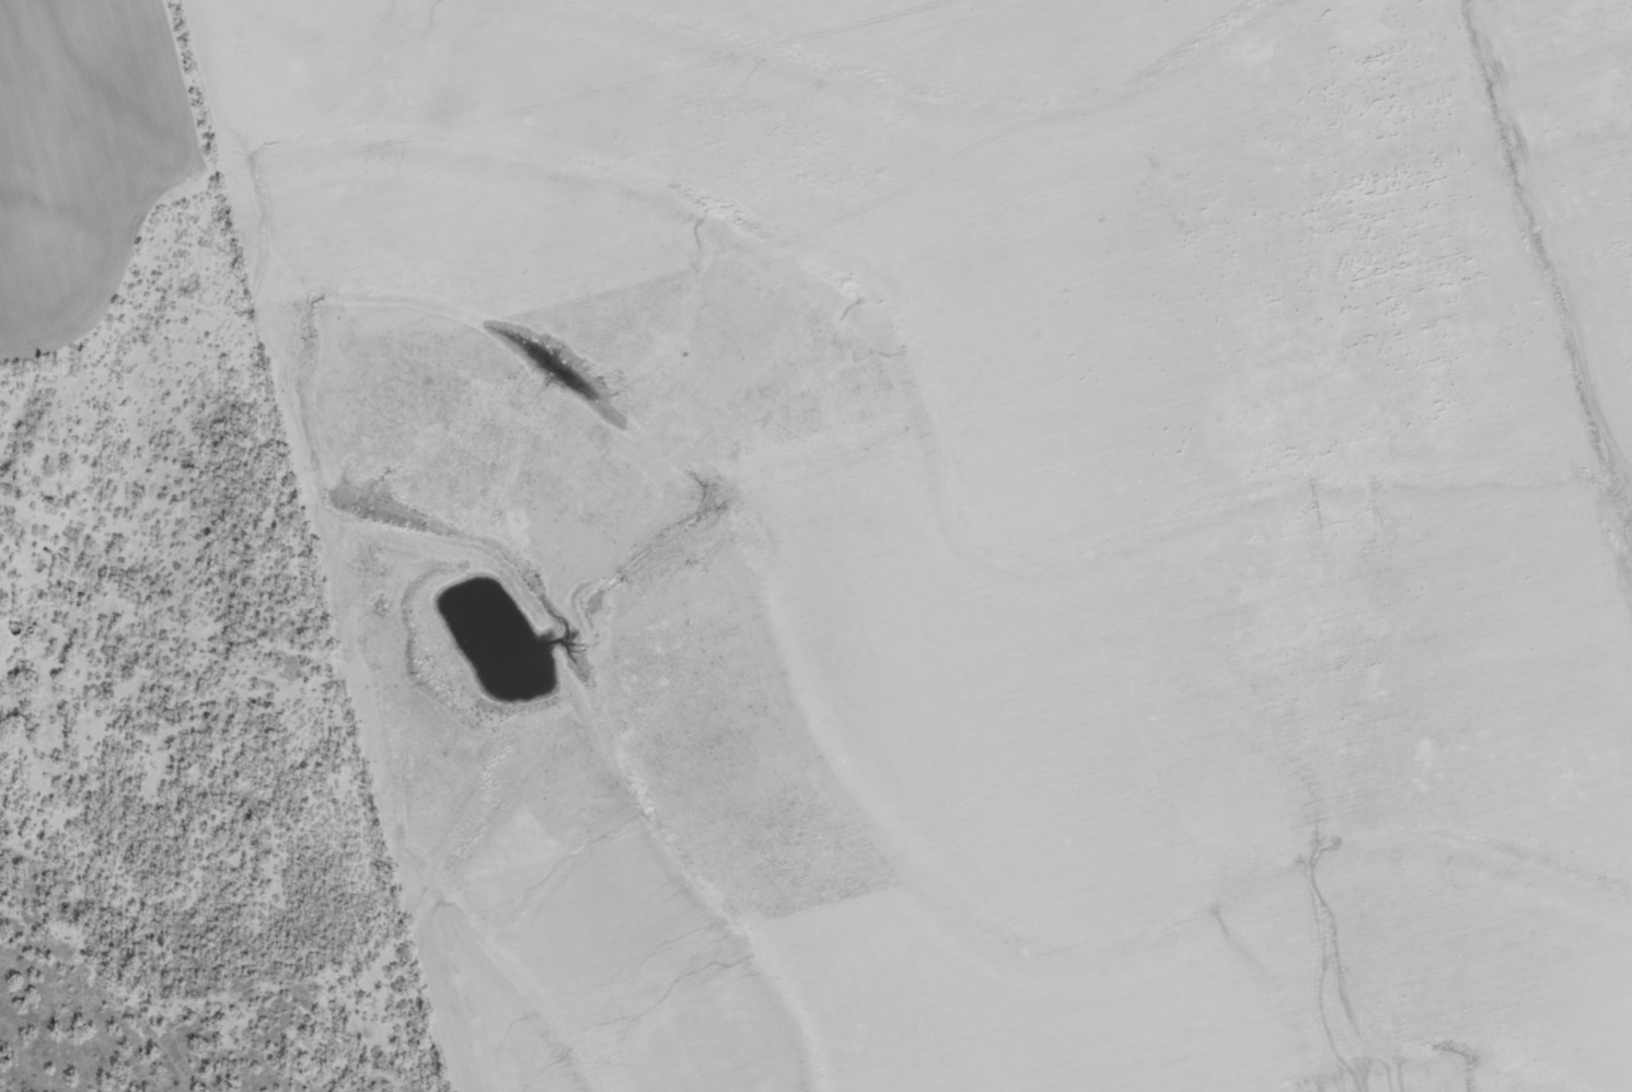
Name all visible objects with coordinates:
road: (236, 274)
road: (1536, 338)
road: (1442, 707)

